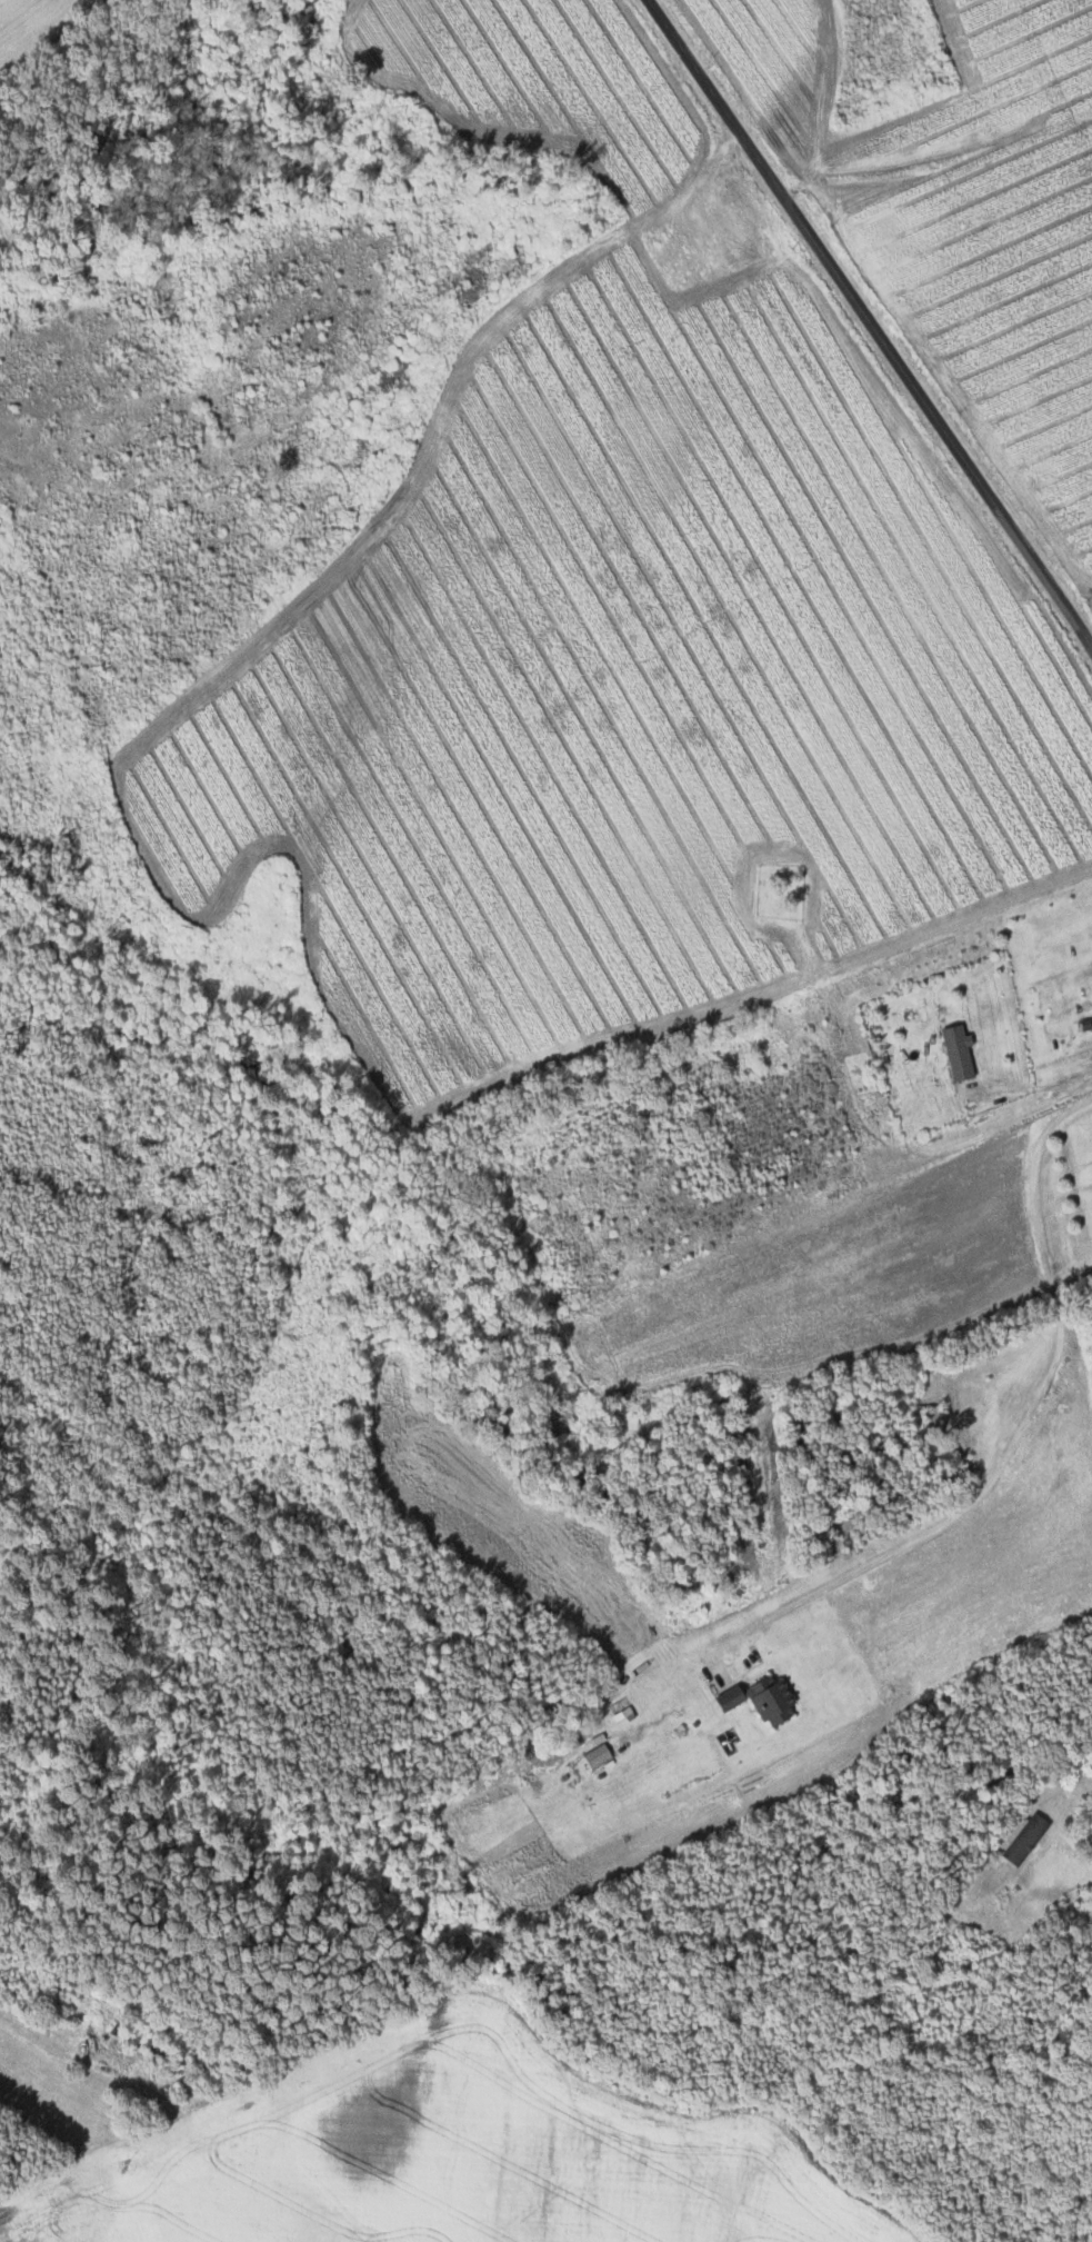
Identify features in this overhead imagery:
road: (869, 323)
building: (960, 1052)
road: (1022, 1425)
building: (751, 1694)
building: (599, 1755)
building: (1026, 1839)

